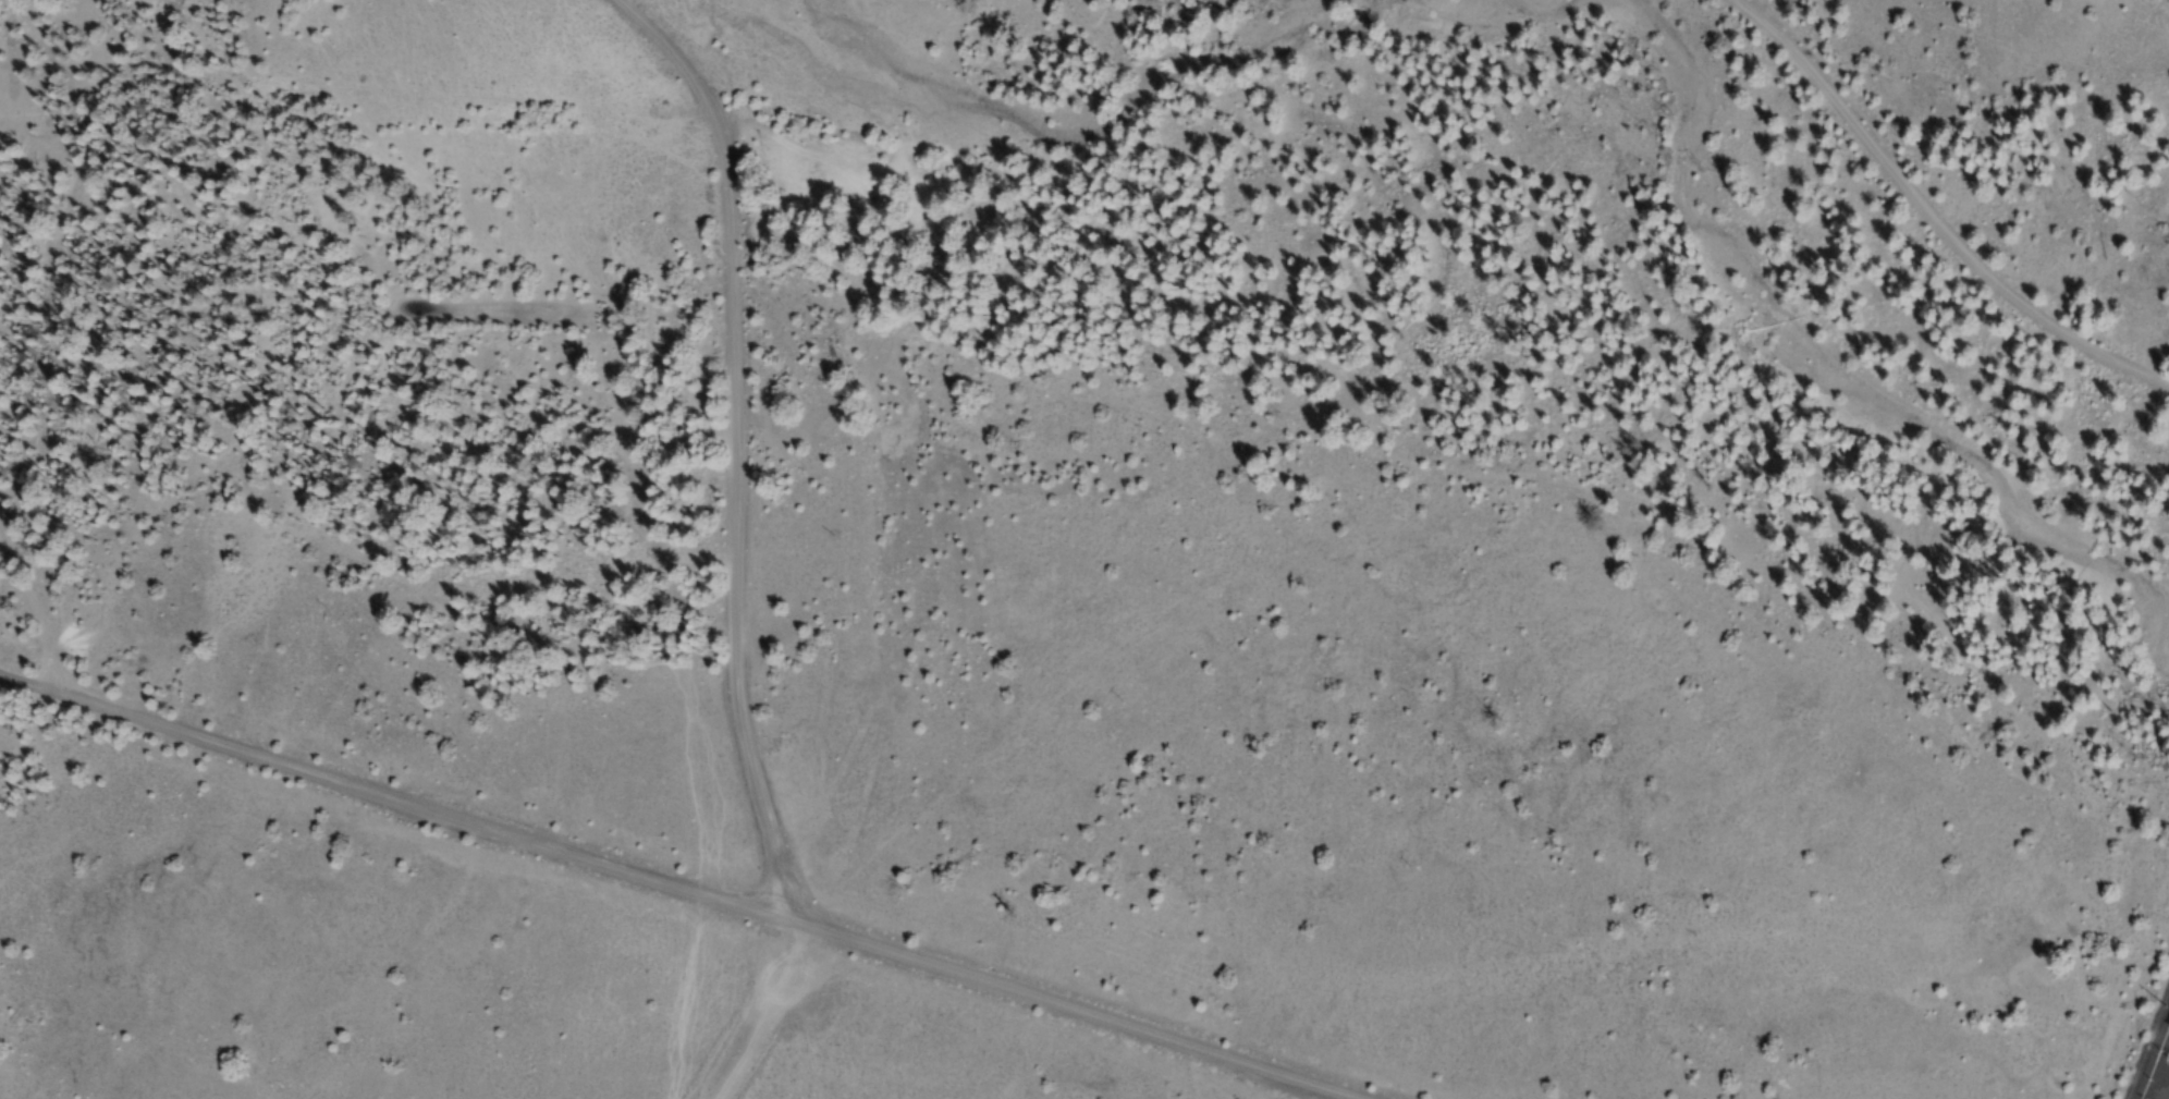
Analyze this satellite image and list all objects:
road: (353, 85)
road: (68, 511)
road: (323, 597)
road: (776, 855)
road: (1086, 1008)
road: (762, 1010)
power substation: (2152, 1054)

